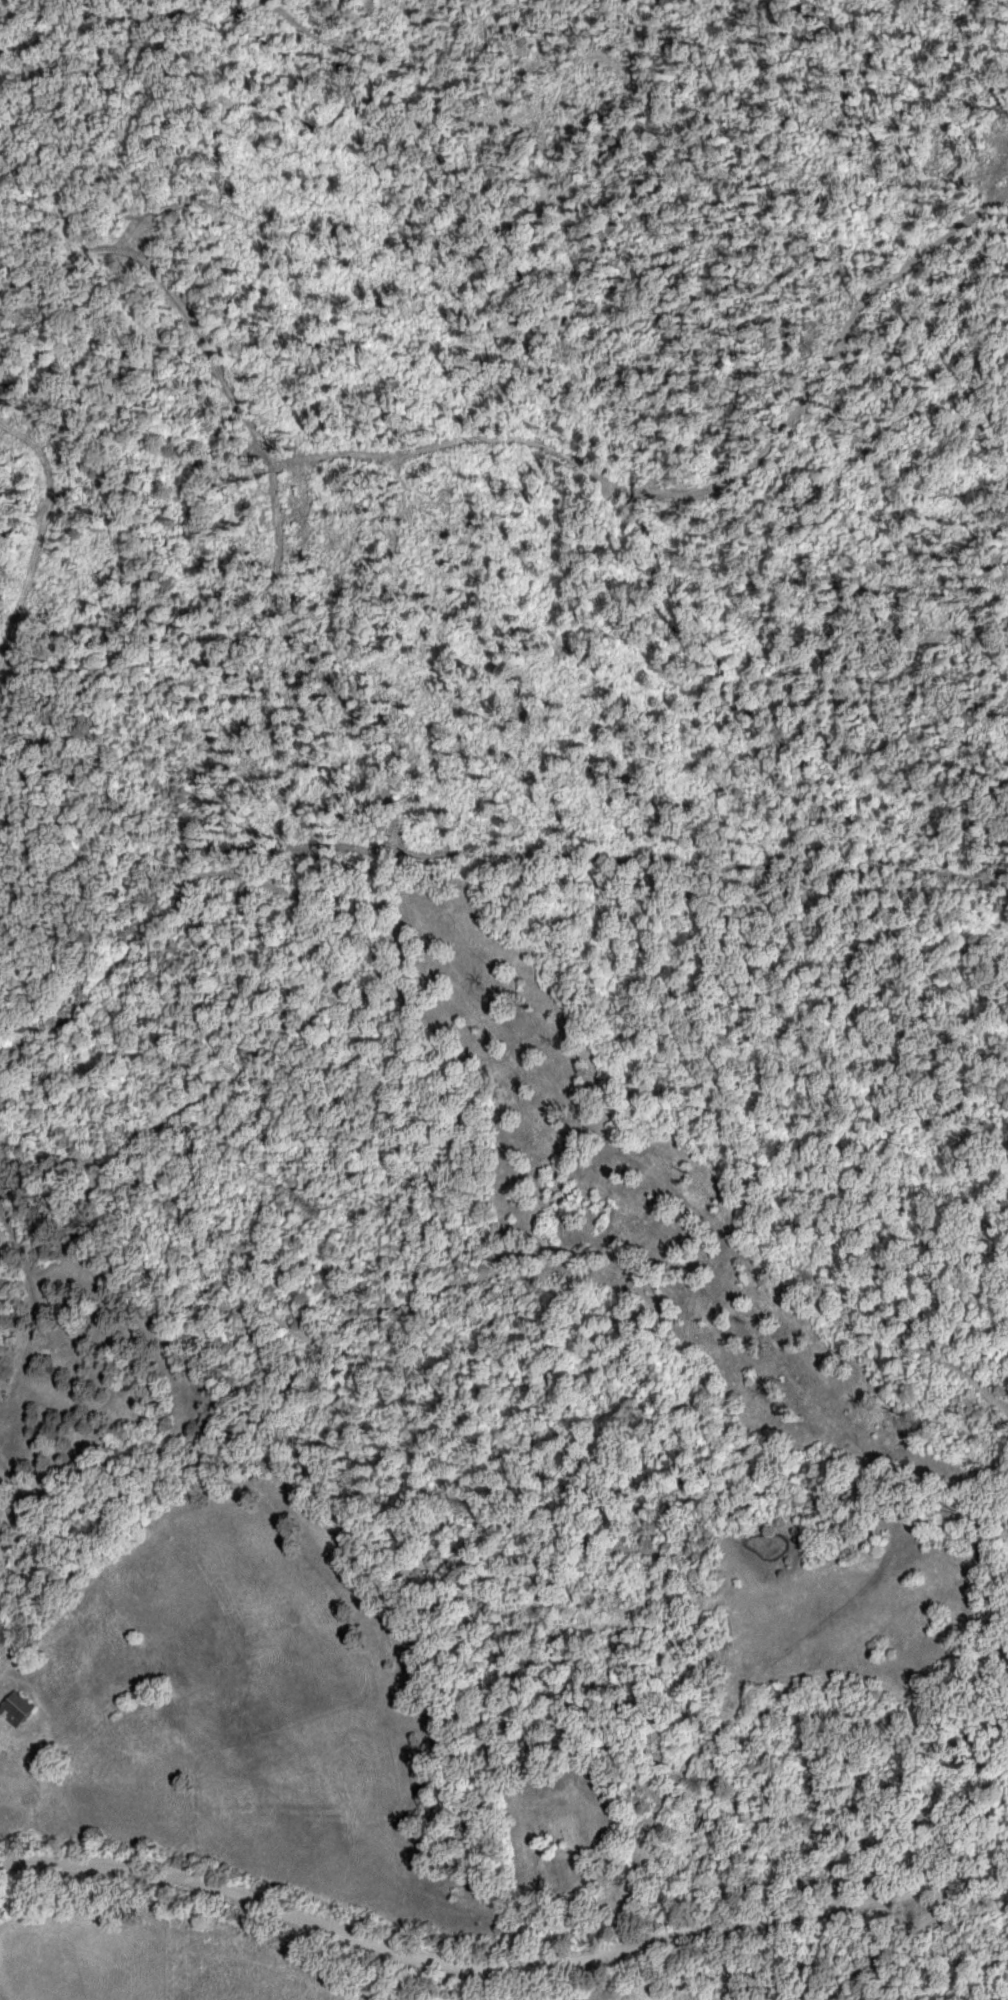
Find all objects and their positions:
road: (229, 1610)
park: (556, 1816)
road: (501, 1949)

